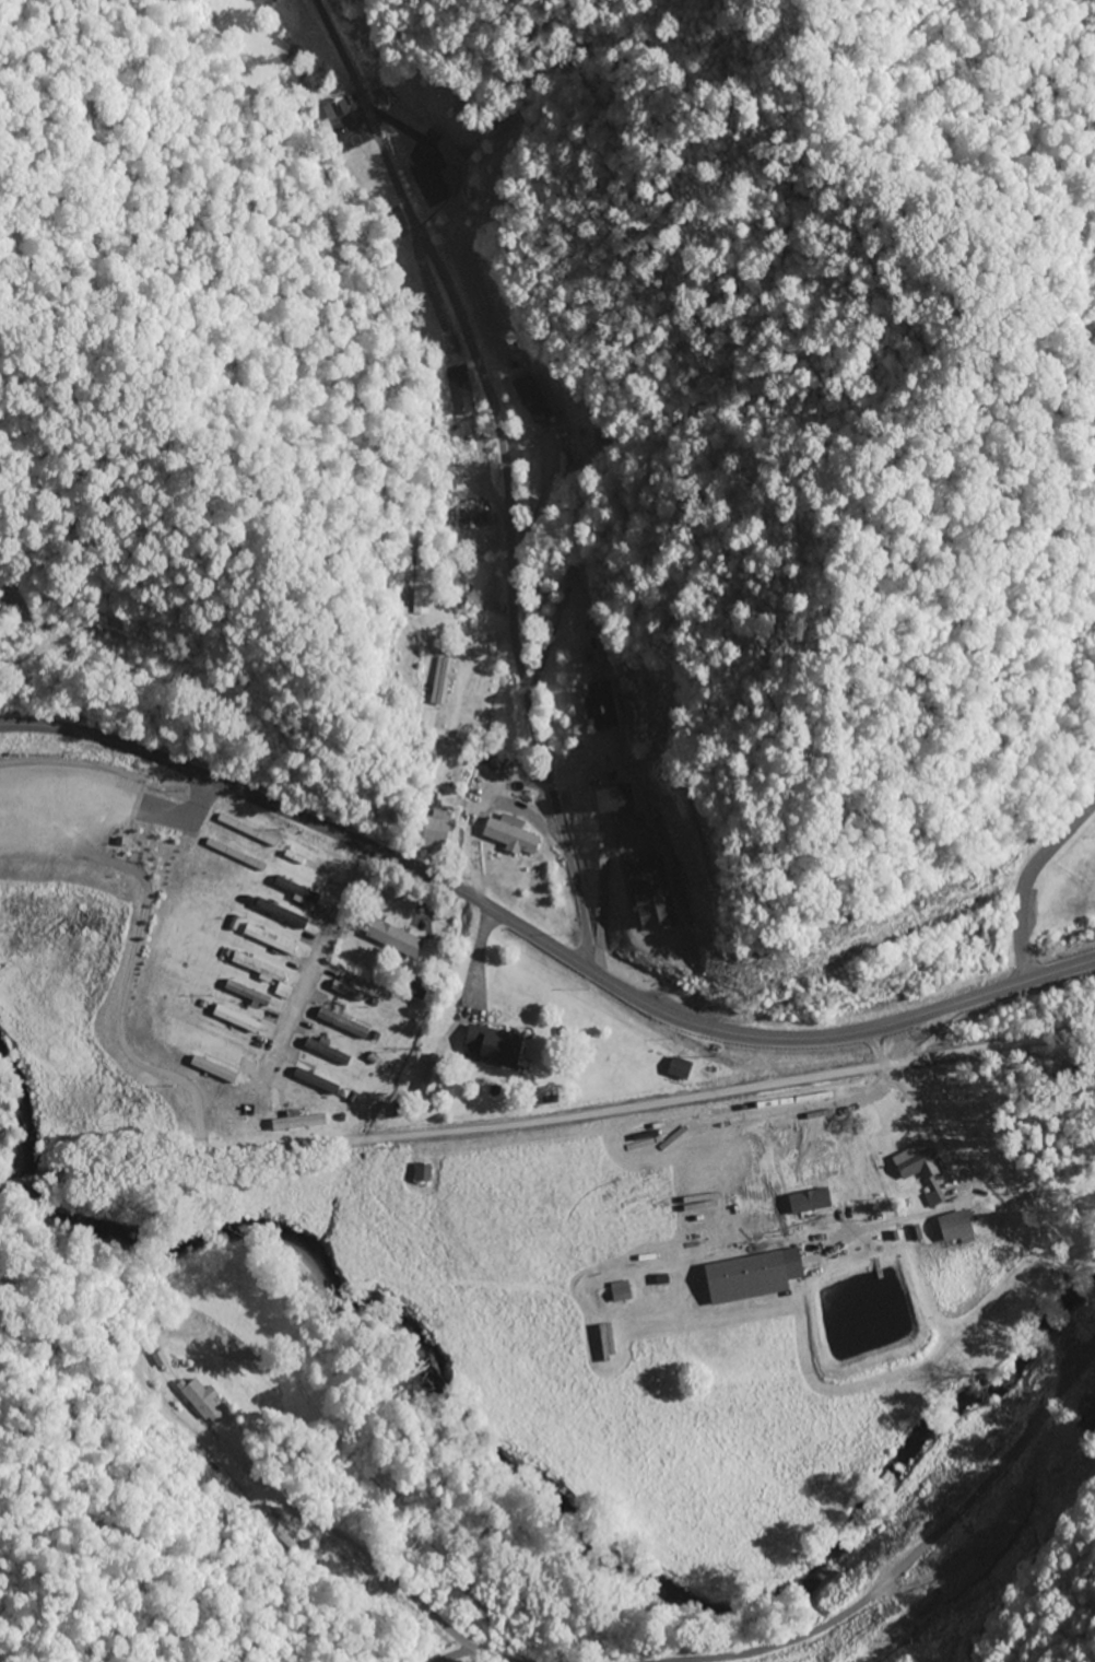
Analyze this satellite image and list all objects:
building: (428, 177)
building: (529, 396)
building: (462, 459)
road: (511, 473)
building: (420, 604)
building: (440, 682)
building: (598, 707)
building: (434, 832)
building: (509, 834)
building: (304, 863)
road: (1031, 890)
building: (280, 915)
building: (393, 937)
building: (268, 940)
road: (541, 944)
road: (310, 967)
building: (246, 994)
building: (354, 995)
building: (234, 1021)
building: (341, 1025)
building: (487, 1044)
building: (326, 1053)
building: (678, 1068)
building: (315, 1082)
road: (549, 1116)
building: (916, 1163)
building: (421, 1172)
road: (976, 1192)
building: (953, 1227)
building: (751, 1276)
building: (620, 1291)
building: (1085, 1416)
building: (978, 1549)
road: (373, 1561)
road: (908, 1562)

